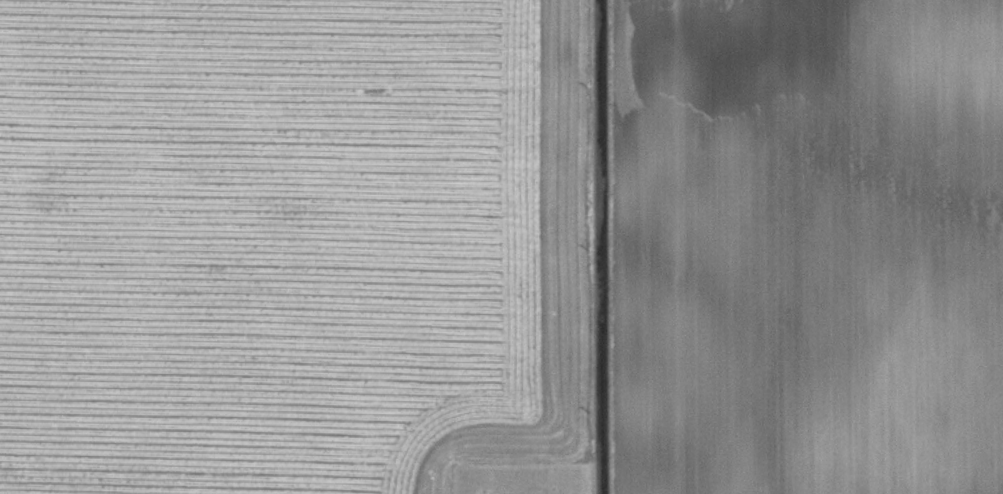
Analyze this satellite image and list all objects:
road: (595, 247)

